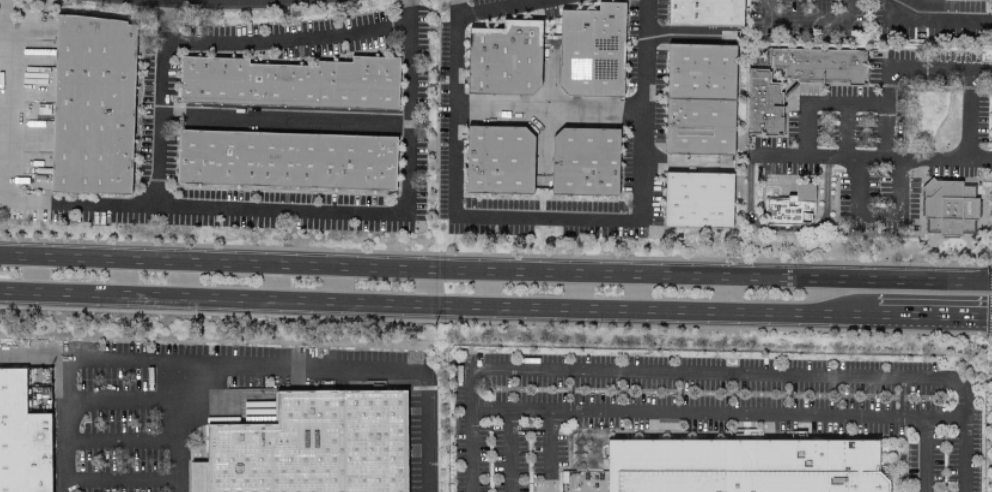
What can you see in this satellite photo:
road: (495, 12)
building: (702, 12)
road: (929, 20)
road: (805, 22)
road: (680, 38)
road: (283, 40)
building: (588, 50)
building: (502, 57)
road: (0, 63)
building: (821, 66)
road: (927, 70)
road: (979, 72)
building: (288, 82)
power tower: (437, 88)
building: (697, 98)
road: (161, 103)
building: (763, 104)
building: (89, 105)
road: (820, 105)
road: (547, 114)
road: (283, 119)
road: (846, 133)
building: (284, 159)
building: (495, 159)
road: (875, 160)
building: (581, 161)
building: (694, 200)
building: (791, 208)
building: (948, 208)
road: (309, 210)
power tower: (436, 211)
road: (876, 218)
road: (558, 219)
road: (783, 230)
road: (495, 270)
road: (495, 305)
power tower: (437, 330)
road: (33, 359)
road: (237, 365)
road: (668, 373)
road: (123, 402)
parking lot: (141, 408)
road: (695, 415)
road: (180, 427)
building: (745, 434)
road: (924, 438)
building: (22, 439)
road: (123, 441)
building: (314, 446)
road: (506, 452)
road: (543, 453)
road: (957, 455)
building: (734, 467)
road: (123, 480)

